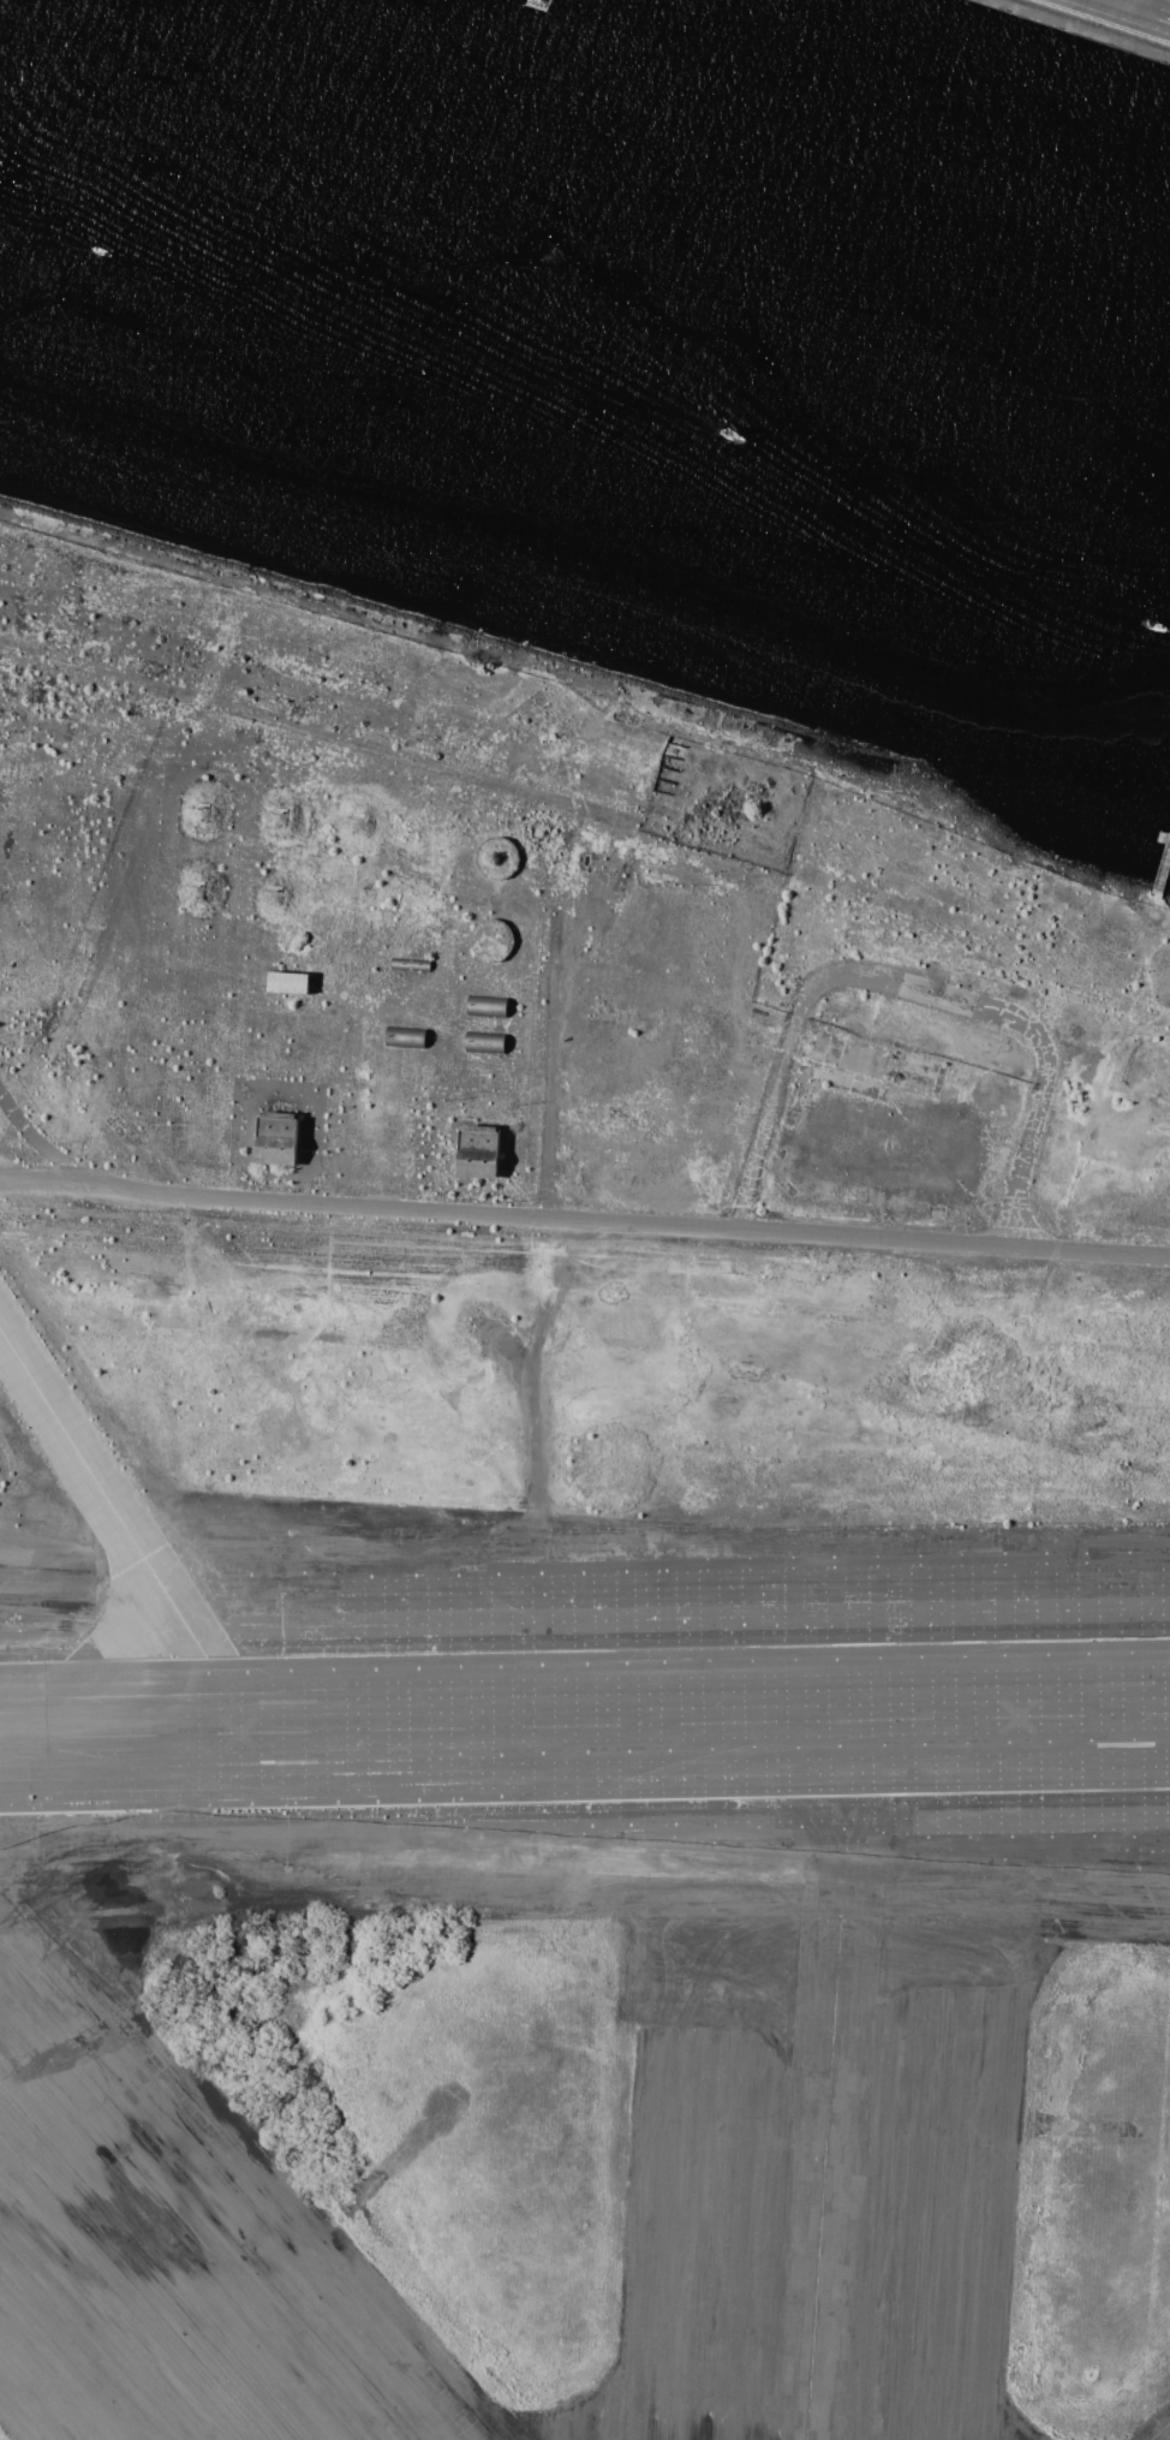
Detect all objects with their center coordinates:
river: (580, 308)
pier: (1157, 834)
pier: (1163, 873)
building: (287, 982)
building: (486, 1006)
road: (542, 1064)
building: (276, 1138)
building: (477, 1150)
road: (567, 1219)

